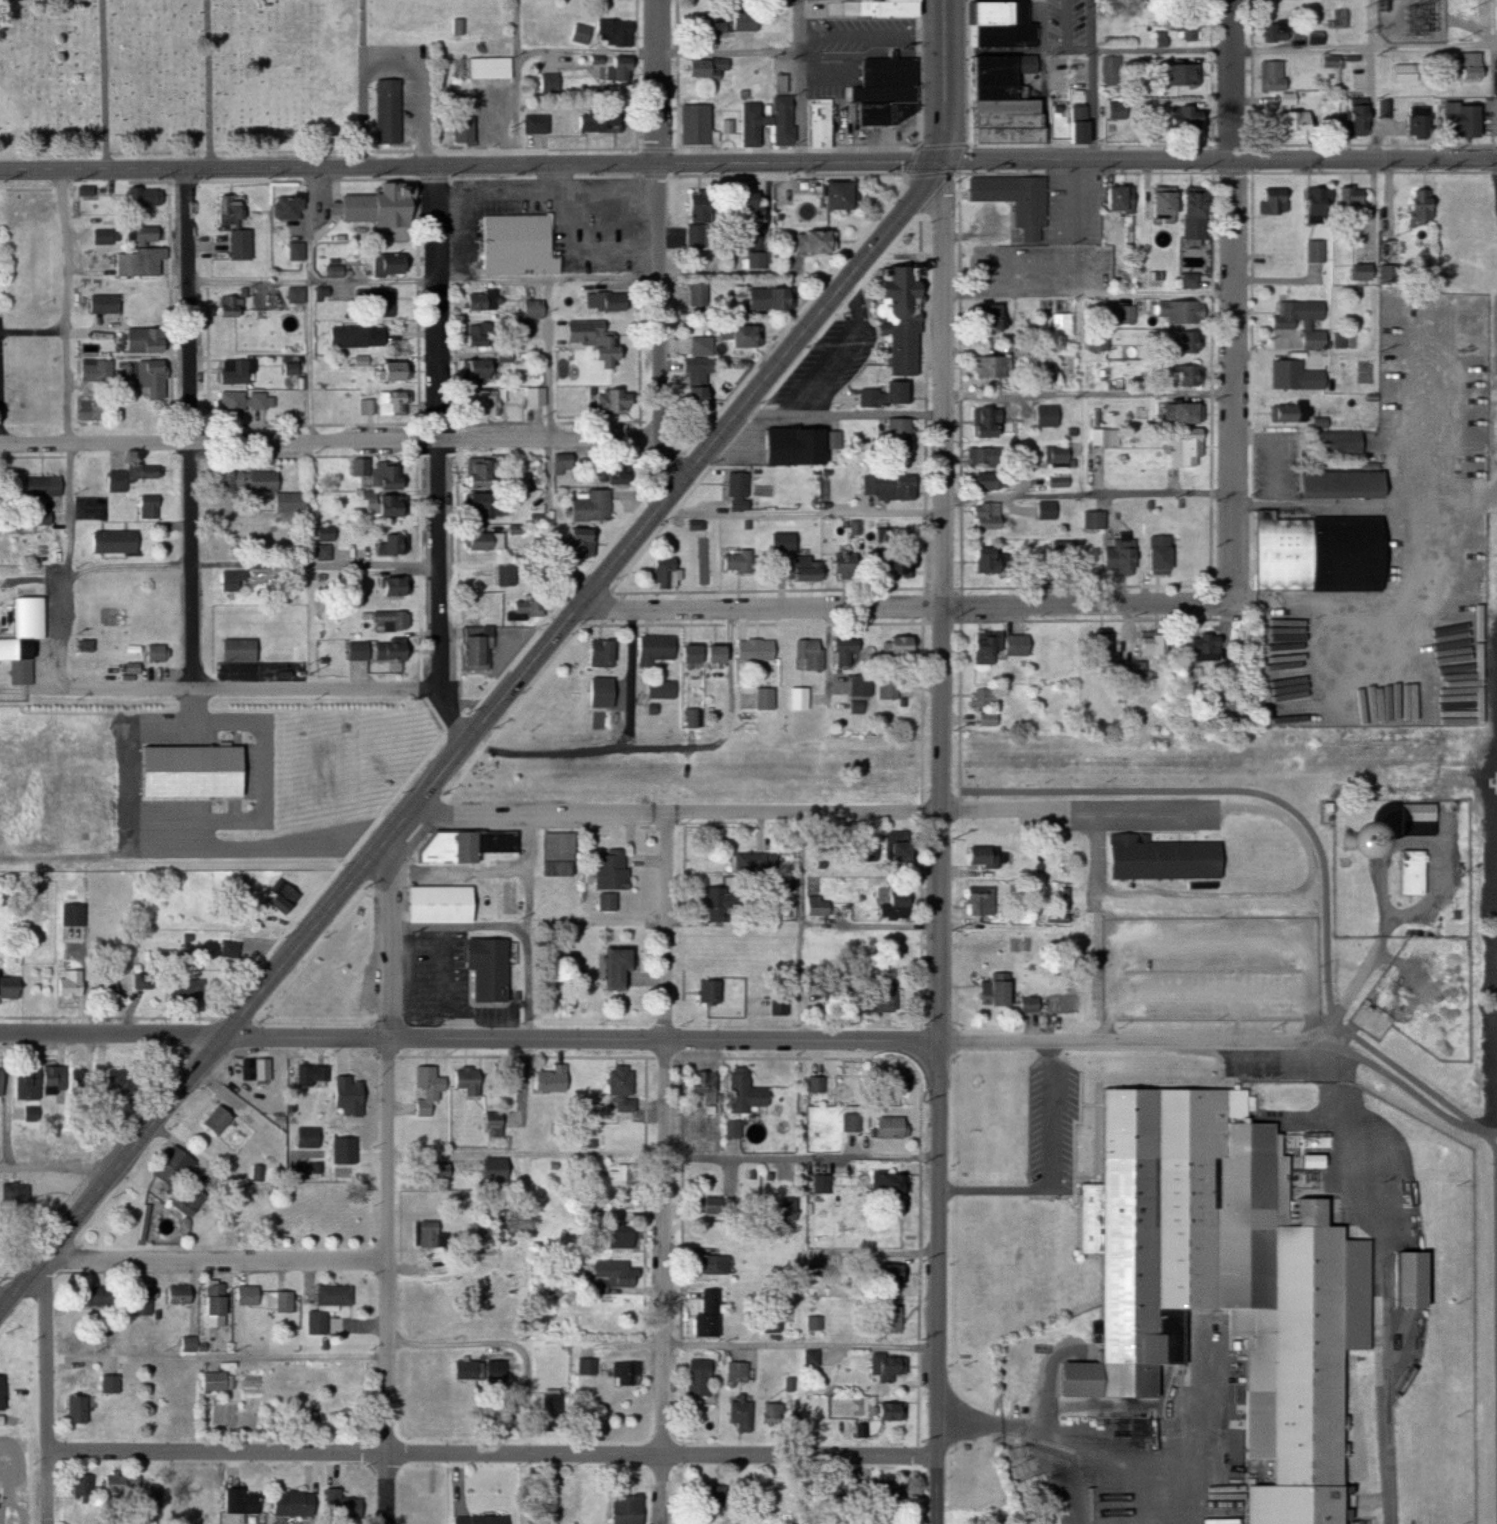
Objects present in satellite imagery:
building: (876, 8)
building: (744, 19)
building: (713, 21)
building: (999, 23)
building: (1187, 23)
building: (458, 26)
building: (1274, 31)
building: (604, 32)
road: (873, 35)
road: (1436, 47)
road: (1213, 51)
road: (589, 52)
road: (731, 53)
road: (388, 60)
building: (1466, 65)
building: (488, 67)
building: (704, 67)
building: (617, 68)
building: (1111, 69)
park: (203, 71)
building: (901, 71)
building: (1404, 72)
building: (1177, 74)
building: (1271, 76)
road: (1095, 80)
road: (802, 82)
road: (518, 83)
building: (548, 83)
building: (998, 100)
building: (1287, 100)
building: (881, 103)
building: (1385, 109)
building: (1115, 110)
building: (386, 111)
building: (1178, 116)
building: (1354, 118)
building: (597, 120)
building: (781, 120)
building: (1456, 120)
building: (1418, 121)
building: (1077, 123)
building: (1288, 123)
building: (462, 124)
building: (536, 124)
building: (750, 124)
building: (819, 124)
building: (694, 125)
traffic signals: (937, 163)
road: (748, 164)
building: (832, 195)
building: (149, 197)
building: (1111, 198)
building: (1013, 200)
building: (1272, 201)
building: (1348, 201)
building: (1161, 203)
building: (1316, 203)
building: (377, 206)
building: (736, 206)
building: (288, 207)
building: (1414, 208)
building: (235, 211)
building: (1192, 213)
building: (697, 220)
road: (189, 226)
road: (312, 227)
building: (152, 233)
building: (108, 236)
building: (812, 240)
road: (1377, 243)
building: (244, 244)
building: (517, 245)
road: (661, 246)
building: (296, 251)
building: (1316, 251)
building: (758, 253)
building: (145, 262)
building: (390, 262)
building: (333, 271)
road: (551, 279)
building: (1188, 280)
road: (315, 284)
building: (321, 291)
building: (698, 293)
building: (296, 295)
road: (1091, 296)
building: (763, 298)
building: (378, 300)
road: (1235, 300)
building: (477, 301)
building: (606, 301)
building: (109, 303)
building: (235, 306)
building: (532, 309)
building: (1179, 311)
building: (1295, 313)
building: (1125, 315)
building: (984, 317)
building: (900, 318)
building: (1063, 323)
road: (34, 330)
building: (733, 335)
building: (471, 336)
building: (356, 337)
building: (151, 339)
building: (592, 339)
building: (1097, 339)
building: (1311, 340)
building: (1184, 342)
building: (699, 345)
road: (552, 360)
building: (990, 366)
building: (100, 370)
building: (245, 370)
building: (475, 370)
building: (390, 371)
building: (1045, 371)
building: (696, 374)
building: (1184, 375)
building: (150, 376)
building: (1285, 377)
road: (71, 378)
road: (1090, 394)
building: (535, 395)
building: (882, 395)
building: (610, 400)
building: (250, 402)
building: (390, 402)
building: (485, 402)
building: (366, 407)
building: (1177, 412)
building: (1288, 412)
building: (1045, 415)
road: (1436, 415)
road: (844, 416)
road: (1, 421)
building: (985, 421)
building: (1319, 423)
building: (894, 434)
building: (1104, 436)
building: (835, 439)
road: (553, 440)
road: (220, 442)
building: (1336, 443)
building: (791, 446)
building: (1187, 446)
road: (1274, 450)
building: (987, 455)
building: (1056, 456)
road: (441, 458)
building: (361, 466)
building: (480, 471)
building: (383, 474)
building: (136, 475)
building: (989, 480)
building: (254, 481)
building: (1337, 484)
building: (39, 485)
road: (193, 486)
building: (887, 486)
building: (1, 487)
road: (313, 487)
building: (736, 491)
road: (1090, 497)
building: (295, 501)
road: (1366, 501)
building: (383, 503)
building: (589, 504)
building: (486, 505)
building: (152, 506)
building: (1046, 509)
road: (801, 513)
building: (987, 516)
building: (1093, 519)
building: (696, 525)
building: (324, 532)
building: (119, 541)
building: (488, 541)
building: (578, 542)
building: (389, 543)
building: (324, 552)
building: (1316, 553)
building: (1118, 557)
building: (1063, 559)
building: (1155, 559)
building: (984, 560)
building: (737, 562)
building: (842, 565)
road: (199, 566)
building: (898, 566)
building: (803, 568)
building: (664, 573)
building: (505, 574)
building: (236, 581)
building: (389, 586)
road: (1331, 603)
road: (1089, 605)
building: (524, 606)
road: (763, 609)
road: (1428, 616)
building: (388, 620)
building: (471, 637)
building: (28, 638)
building: (1151, 645)
building: (1204, 645)
building: (898, 646)
building: (997, 646)
building: (1103, 647)
building: (654, 649)
building: (243, 650)
building: (379, 650)
building: (754, 650)
building: (842, 651)
building: (162, 653)
building: (600, 653)
building: (686, 653)
building: (809, 653)
building: (713, 654)
road: (523, 677)
road: (633, 677)
building: (889, 685)
building: (860, 686)
road: (255, 689)
building: (661, 689)
building: (599, 692)
building: (985, 698)
building: (764, 699)
building: (987, 720)
road: (829, 722)
road: (663, 742)
road: (1125, 805)
road: (944, 809)
road: (679, 813)
building: (1416, 819)
road: (234, 822)
water tower: (1353, 839)
building: (471, 845)
building: (893, 847)
building: (564, 854)
building: (986, 856)
building: (1160, 858)
building: (754, 861)
building: (616, 870)
road: (526, 871)
building: (1408, 872)
building: (288, 896)
building: (977, 901)
building: (612, 902)
building: (724, 903)
building: (444, 904)
building: (819, 907)
building: (893, 907)
building: (78, 914)
road: (528, 925)
road: (803, 927)
road: (873, 927)
building: (233, 950)
building: (625, 968)
building: (493, 970)
building: (147, 980)
road: (528, 982)
building: (76, 984)
building: (11, 986)
building: (114, 986)
building: (197, 987)
building: (994, 990)
building: (714, 991)
building: (881, 999)
building: (784, 1004)
building: (1027, 1005)
road: (110, 1035)
road: (312, 1039)
road: (667, 1039)
road: (1231, 1042)
building: (266, 1069)
building: (316, 1074)
building: (4, 1079)
building: (59, 1080)
building: (125, 1080)
building: (474, 1080)
building: (556, 1080)
building: (87, 1081)
building: (32, 1083)
building: (710, 1083)
building: (886, 1083)
building: (627, 1087)
building: (432, 1091)
building: (750, 1092)
road: (6, 1105)
building: (223, 1120)
building: (500, 1124)
building: (887, 1127)
building: (738, 1130)
road: (667, 1133)
building: (312, 1138)
road: (390, 1146)
road: (666, 1155)
building: (178, 1167)
building: (500, 1170)
building: (627, 1175)
road: (55, 1176)
building: (826, 1184)
building: (194, 1200)
building: (721, 1206)
building: (793, 1209)
building: (488, 1233)
building: (432, 1235)
building: (625, 1237)
road: (530, 1246)
building: (830, 1259)
road: (217, 1261)
building: (716, 1265)
building: (608, 1268)
building: (888, 1275)
building: (1404, 1280)
building: (1217, 1281)
building: (252, 1295)
building: (104, 1296)
building: (222, 1300)
building: (145, 1301)
building: (288, 1302)
building: (332, 1307)
road: (1, 1308)
building: (714, 1314)
building: (889, 1319)
road: (664, 1345)
road: (219, 1357)
building: (815, 1358)
building: (592, 1366)
building: (885, 1366)
building: (472, 1369)
building: (742, 1372)
building: (630, 1373)
building: (704, 1377)
building: (222, 1381)
road: (49, 1390)
building: (4, 1393)
building: (84, 1410)
building: (897, 1412)
building: (746, 1414)
road: (494, 1453)
building: (125, 1484)
building: (87, 1485)
road: (387, 1488)
road: (938, 1491)
building: (160, 1495)
building: (720, 1496)
building: (247, 1502)
building: (299, 1502)
building: (347, 1506)
building: (631, 1509)
building: (484, 1520)

